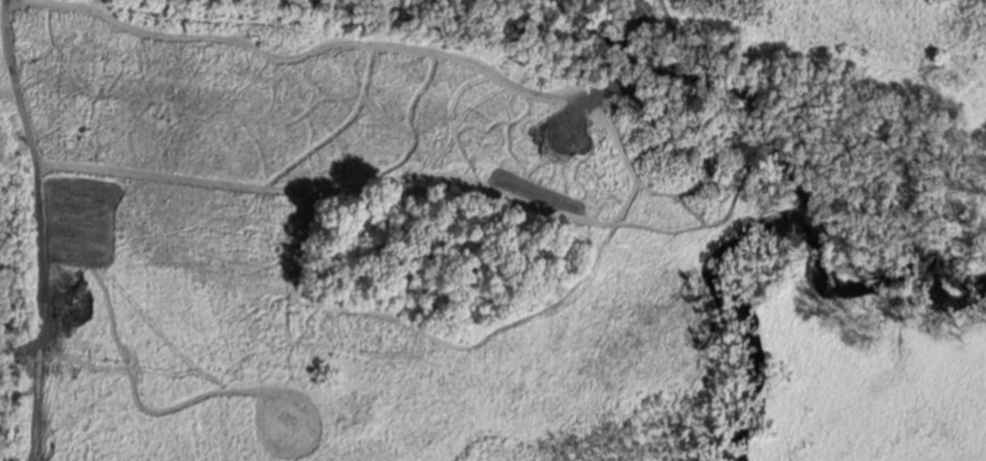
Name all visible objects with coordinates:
river: (702, 98)
river: (893, 264)
river: (710, 326)

